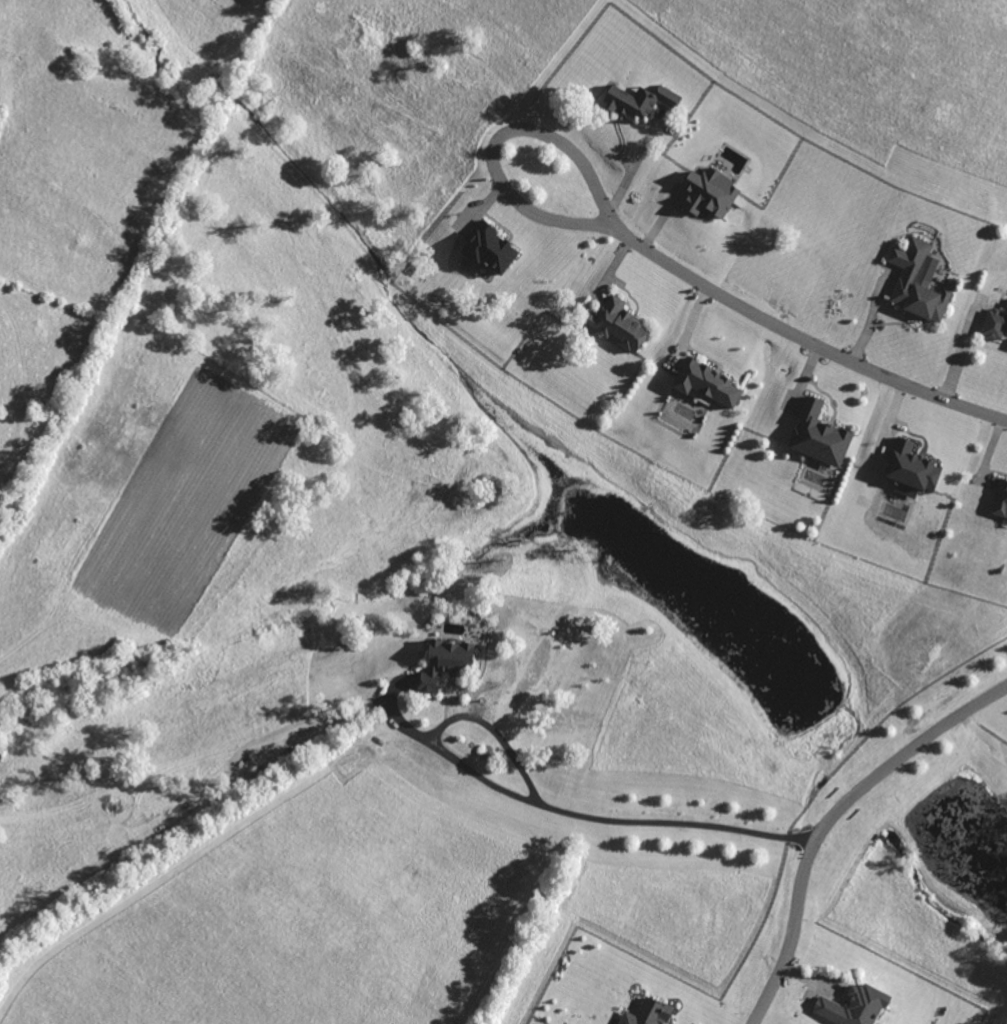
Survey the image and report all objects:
building: (639, 100)
road: (496, 138)
road: (632, 162)
building: (709, 193)
building: (491, 249)
building: (917, 280)
building: (619, 324)
building: (994, 324)
road: (800, 336)
building: (707, 382)
building: (818, 435)
building: (912, 467)
building: (1000, 500)
building: (445, 663)
road: (497, 731)
road: (568, 812)
road: (829, 818)
building: (853, 1006)
building: (646, 1013)

